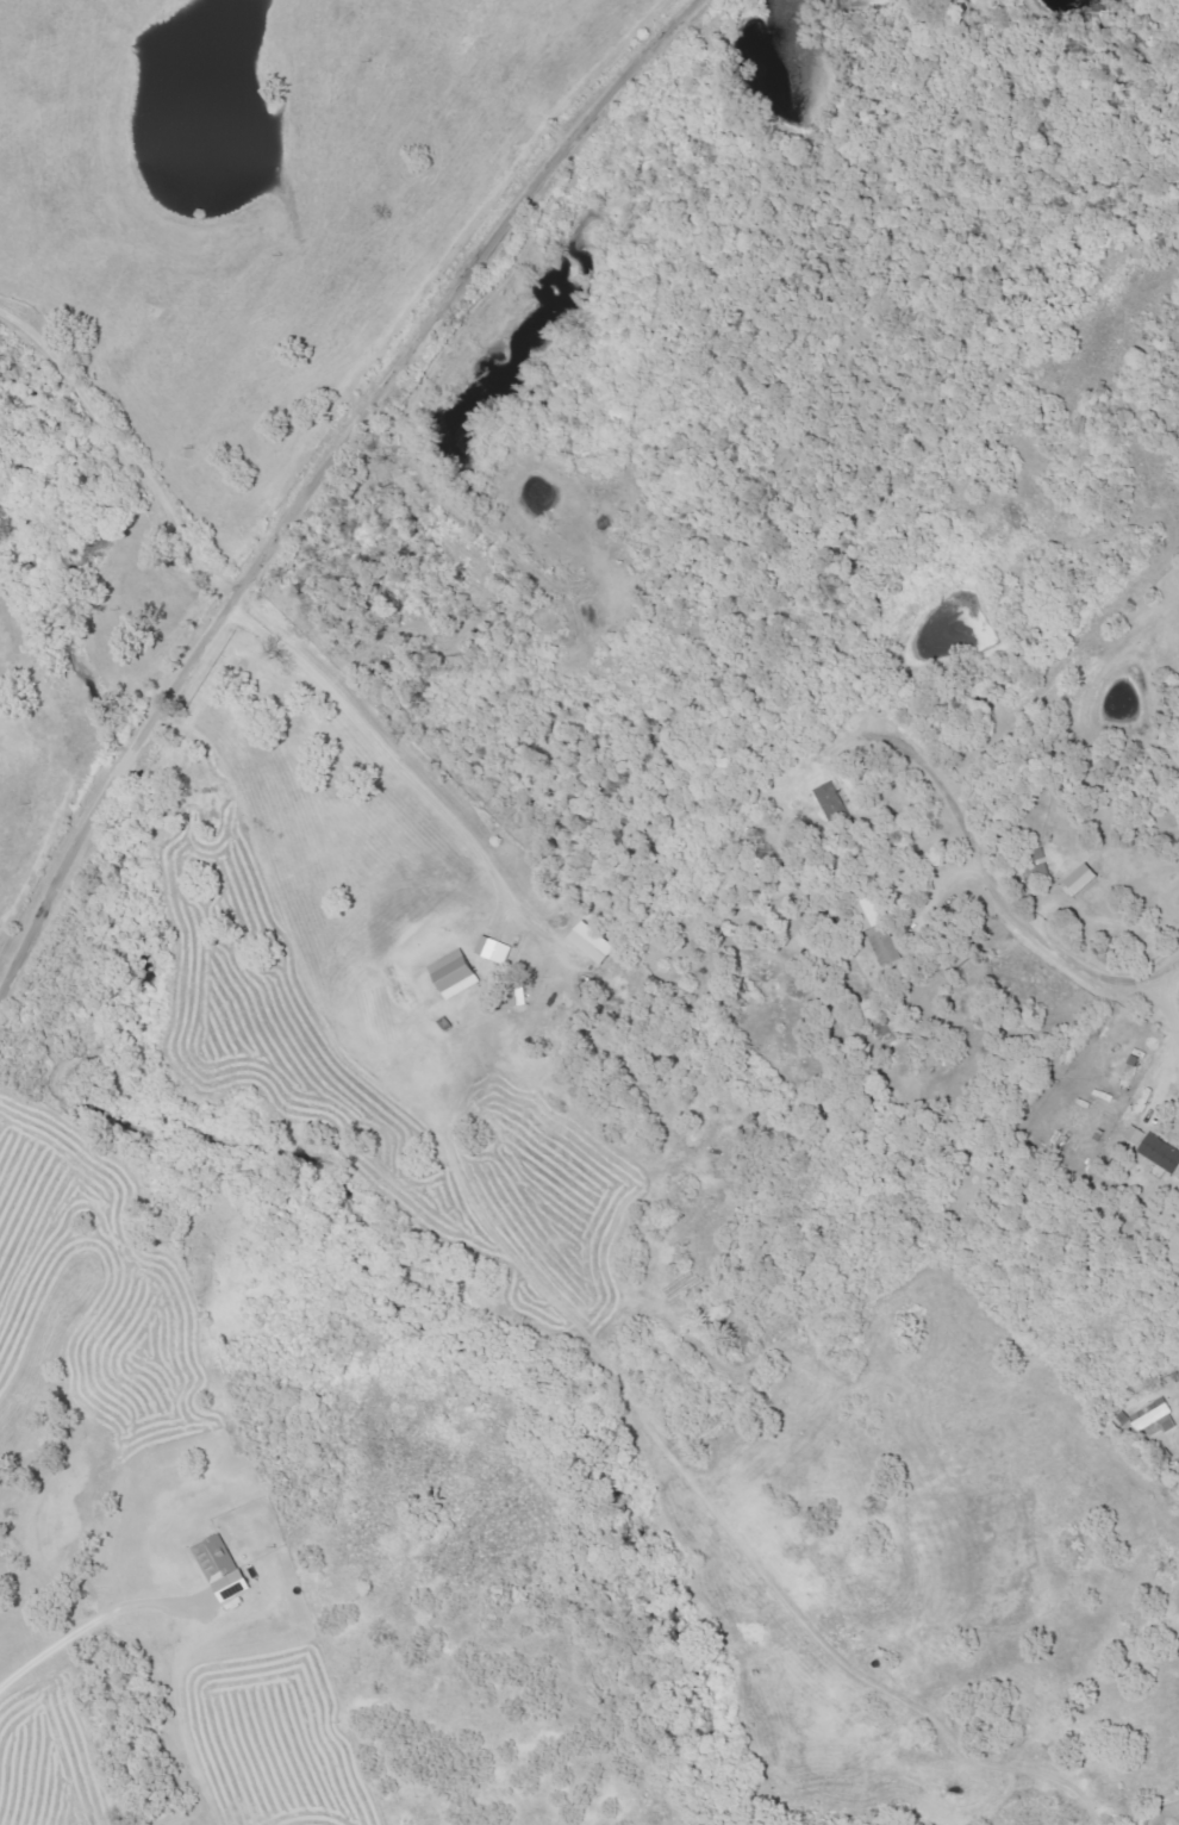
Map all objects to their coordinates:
road: (501, 54)
road: (312, 498)
road: (412, 778)
building: (829, 795)
building: (1084, 878)
road: (1006, 905)
building: (878, 930)
building: (591, 942)
building: (455, 973)
building: (518, 996)
road: (1165, 1003)
building: (1134, 1134)
building: (1161, 1152)
building: (222, 1566)
road: (85, 1628)
road: (180, 1717)

